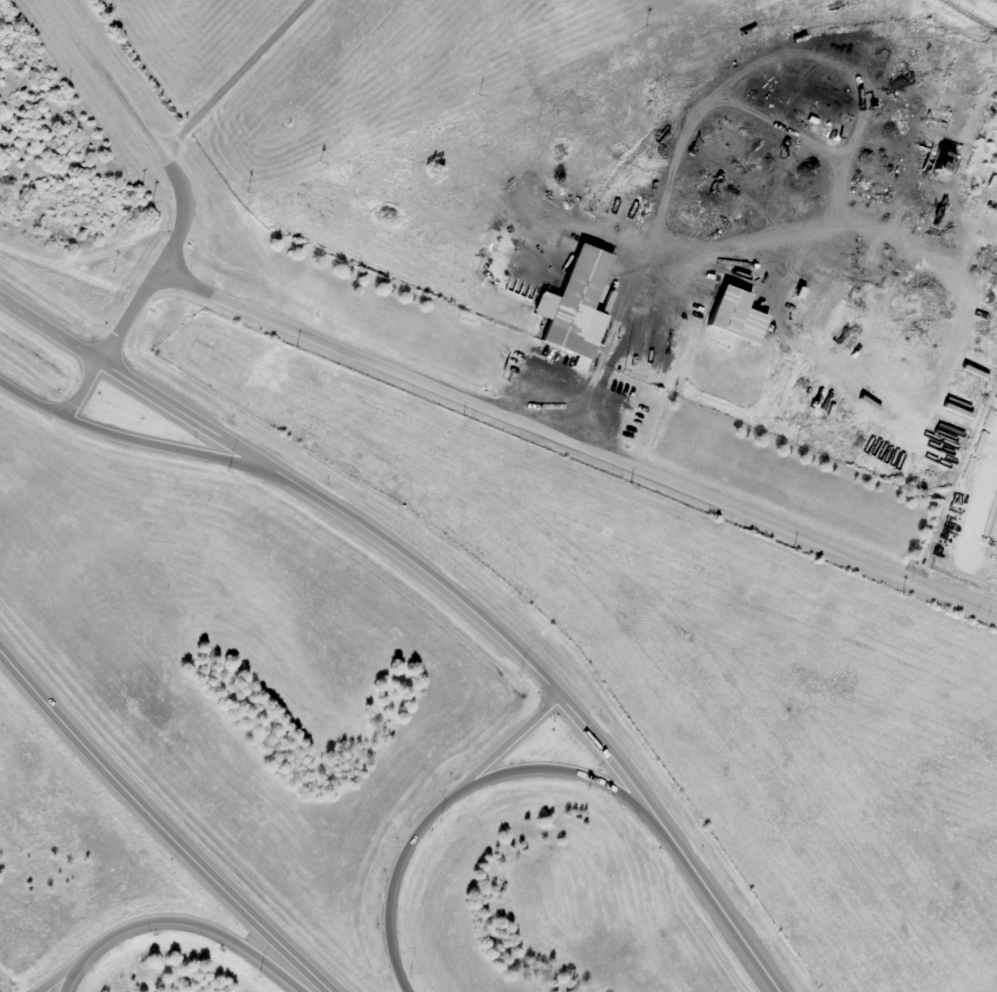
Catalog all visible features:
road: (235, 76)
road: (174, 173)
building: (572, 306)
building: (724, 310)
road: (138, 384)
road: (80, 390)
road: (133, 438)
road: (577, 445)
road: (487, 624)
road: (507, 743)
road: (561, 769)
road: (160, 826)
road: (391, 882)
road: (718, 906)
road: (175, 921)
road: (58, 974)

